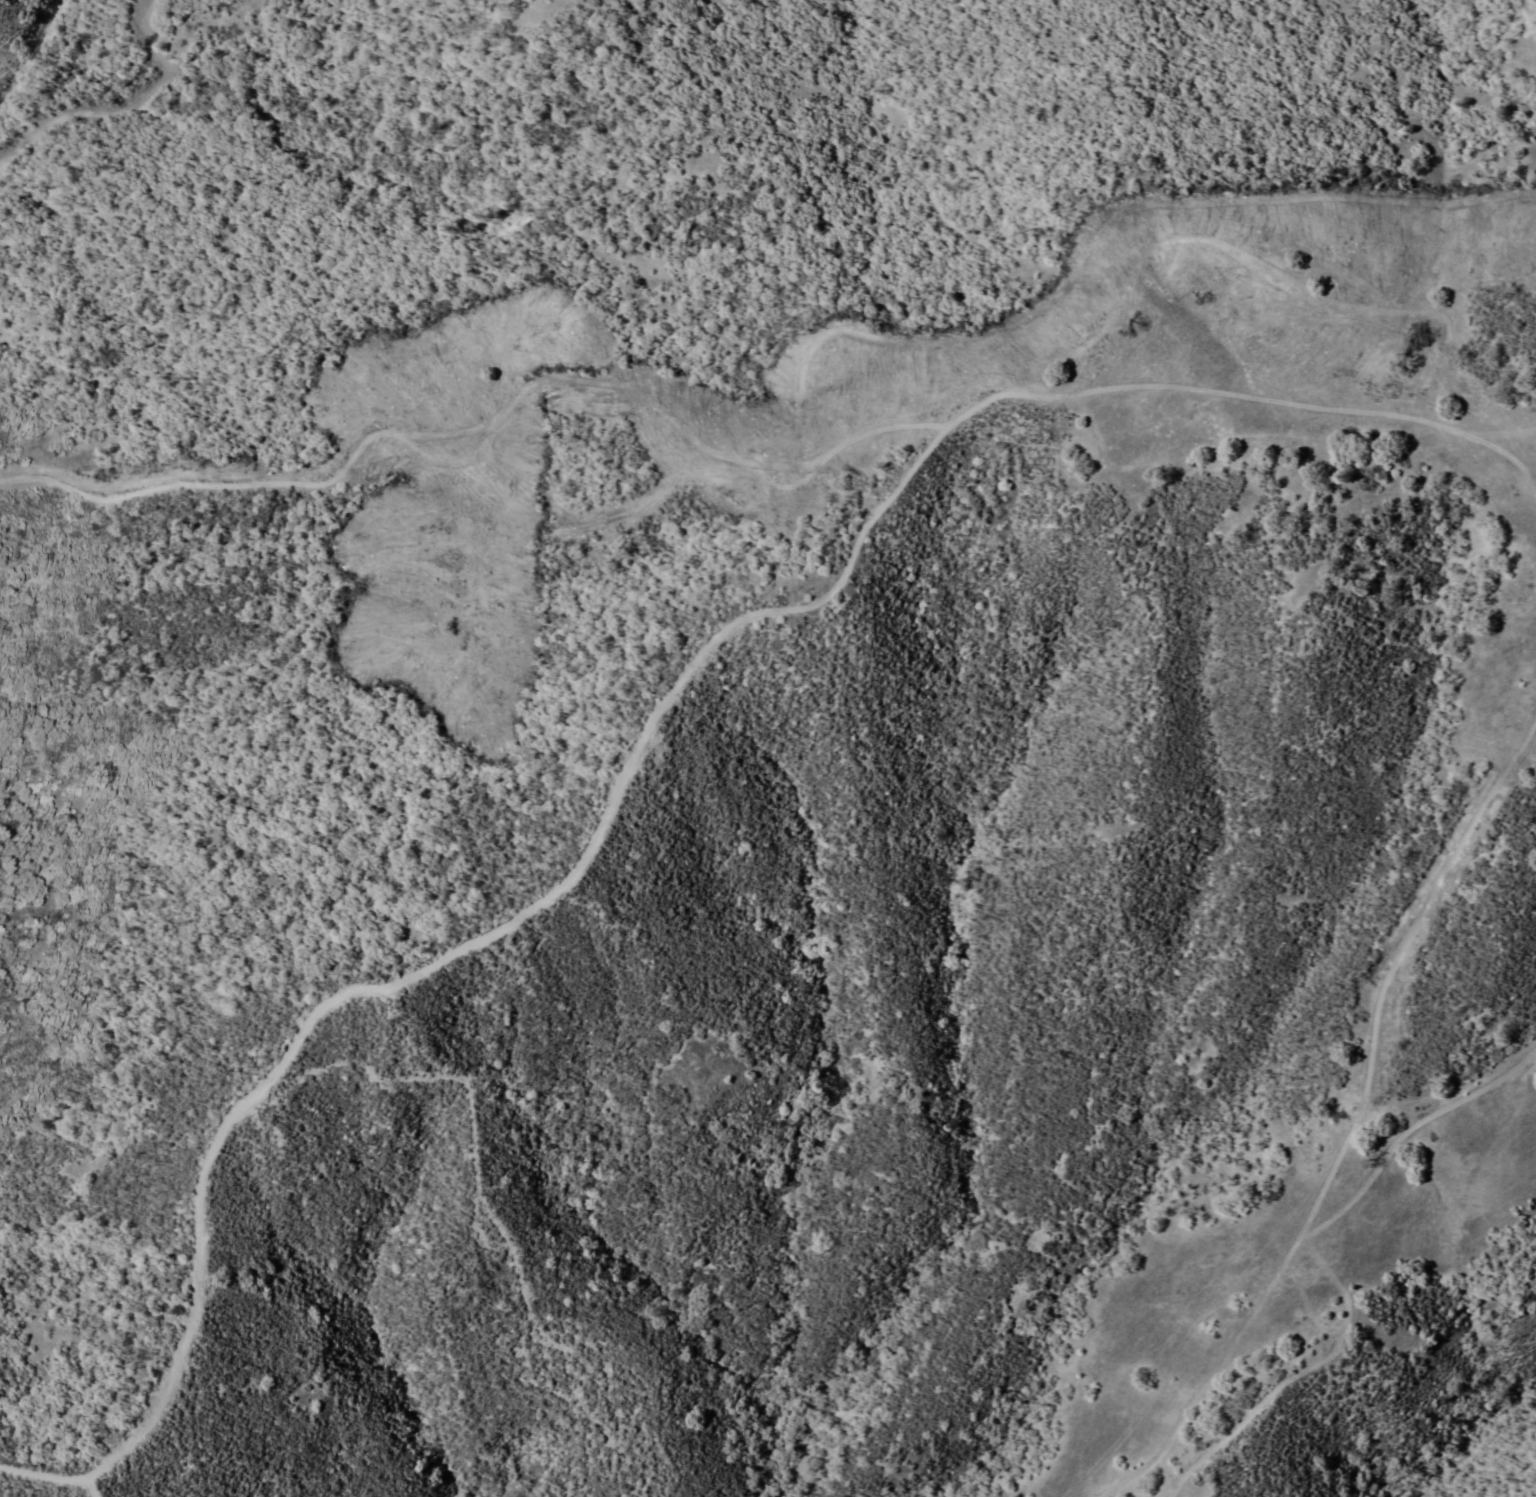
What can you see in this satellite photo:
road: (1291, 1244)

